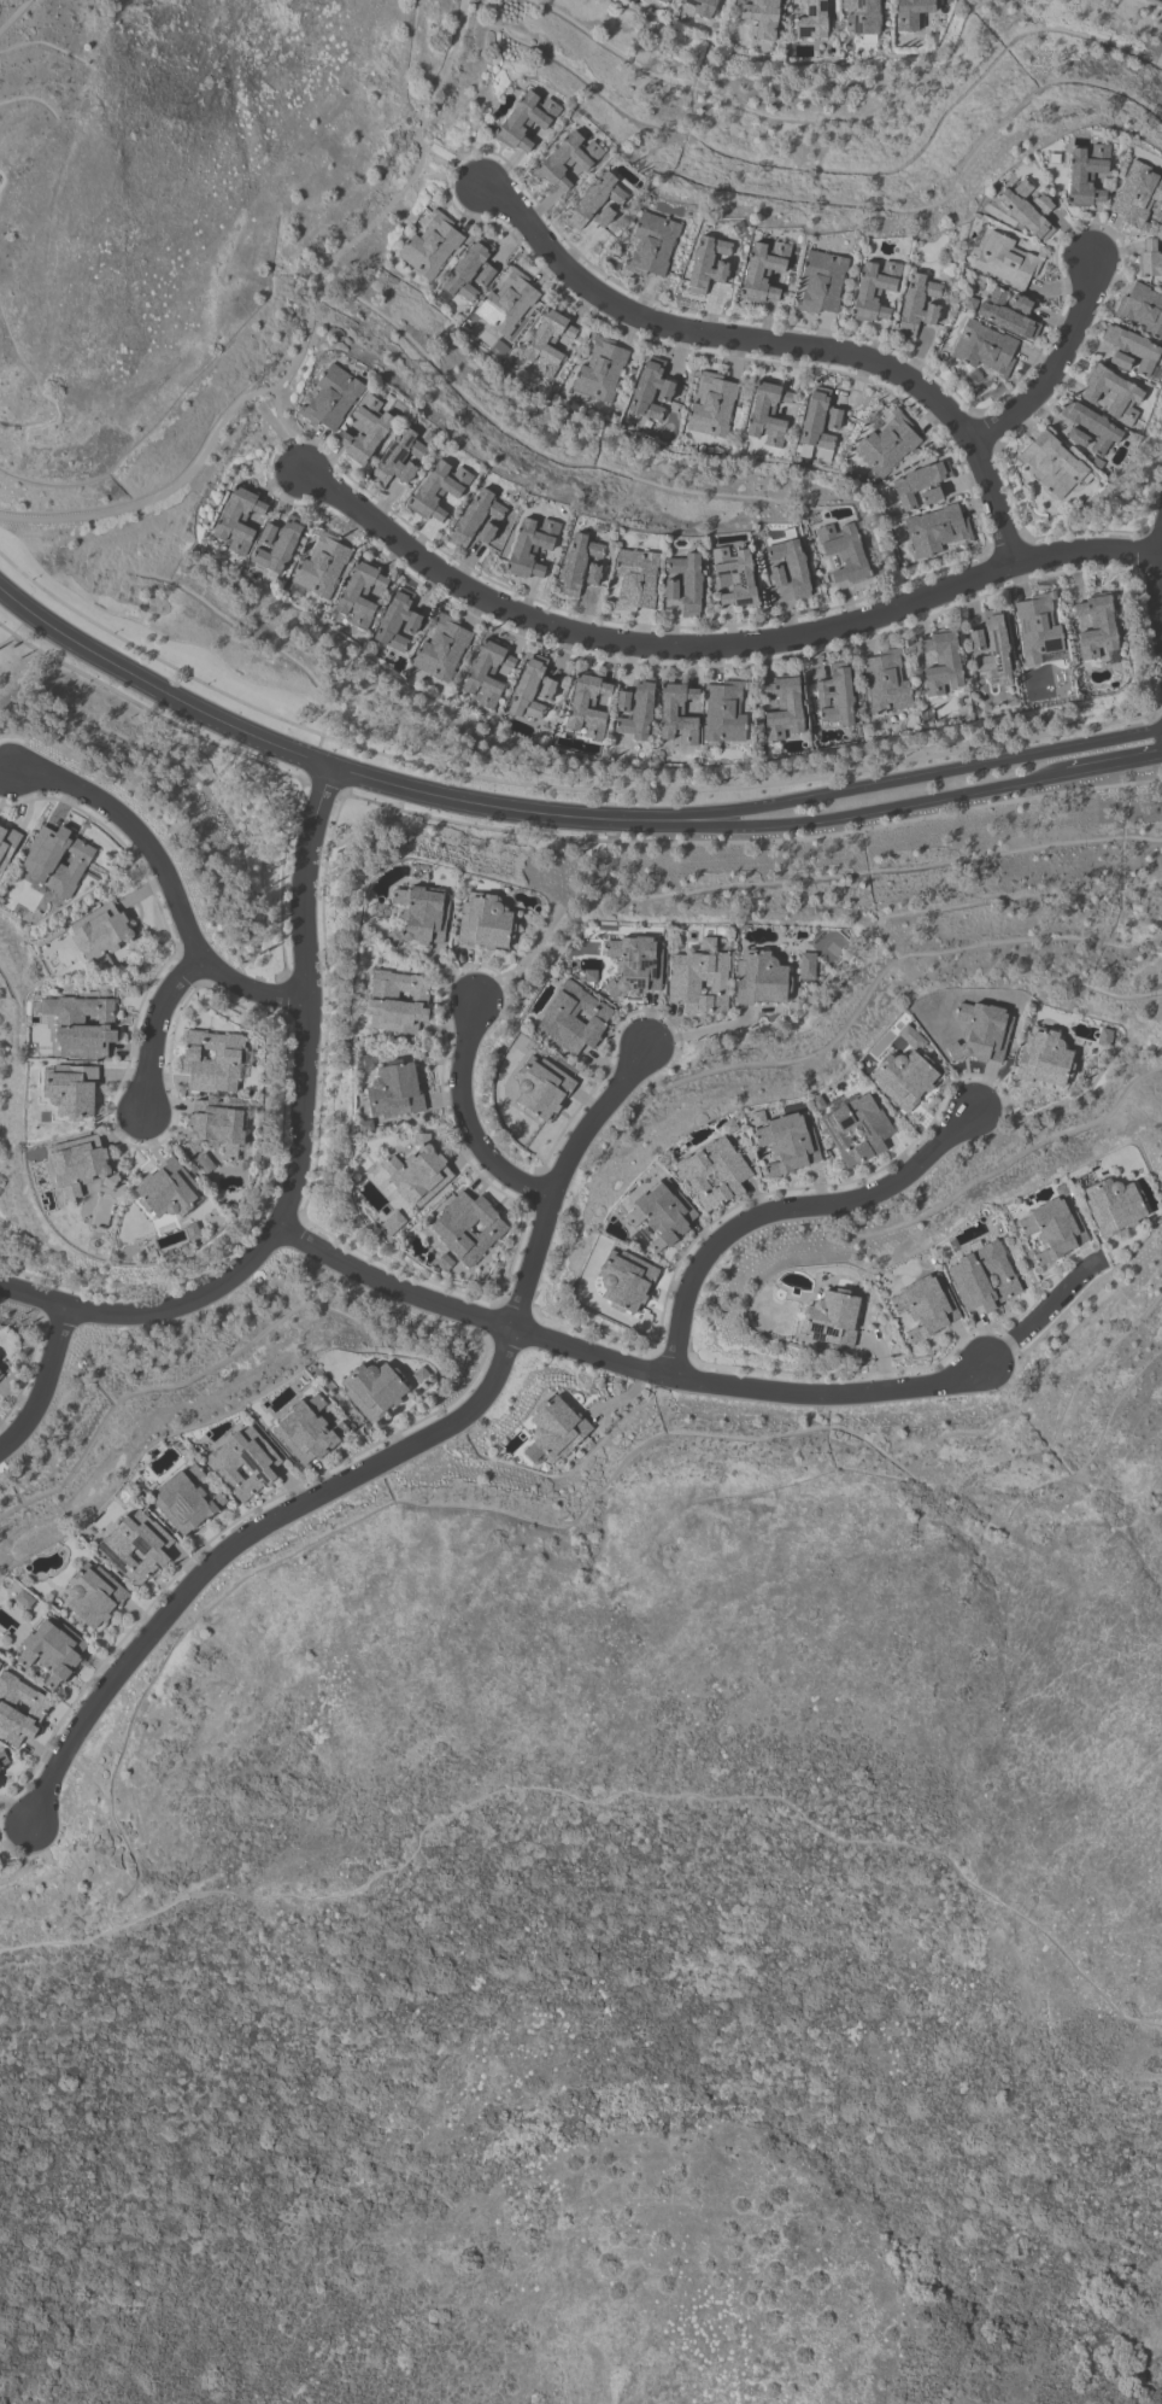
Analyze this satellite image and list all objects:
building: (663, 0)
park: (5, 2)
building: (702, 6)
road: (462, 12)
building: (911, 13)
building: (861, 16)
building: (761, 17)
building: (810, 18)
road: (19, 21)
building: (524, 118)
road: (417, 134)
building: (567, 159)
building: (1085, 174)
road: (451, 179)
building: (1137, 194)
building: (595, 200)
building: (1027, 209)
building: (1158, 215)
building: (652, 244)
building: (430, 245)
building: (1007, 259)
building: (1149, 259)
building: (708, 262)
building: (470, 269)
building: (764, 269)
building: (821, 281)
building: (873, 288)
building: (506, 302)
building: (917, 303)
building: (1143, 309)
building: (1008, 312)
building: (547, 340)
road: (780, 345)
building: (984, 346)
building: (1132, 346)
building: (1120, 359)
building: (599, 368)
road: (1055, 368)
building: (650, 387)
building: (1111, 393)
building: (331, 397)
building: (711, 404)
building: (767, 411)
building: (818, 419)
building: (1088, 426)
building: (365, 428)
road: (288, 433)
building: (887, 443)
building: (822, 454)
building: (399, 457)
building: (1052, 463)
road: (184, 473)
building: (920, 484)
building: (436, 489)
building: (237, 519)
building: (476, 520)
building: (935, 528)
building: (276, 543)
building: (530, 545)
building: (844, 551)
building: (321, 565)
building: (580, 565)
road: (1158, 565)
building: (788, 567)
building: (735, 575)
building: (635, 578)
building: (685, 583)
building: (358, 593)
building: (397, 619)
building: (1096, 626)
building: (1037, 627)
building: (990, 643)
building: (442, 647)
road: (716, 650)
building: (941, 663)
building: (487, 671)
building: (885, 680)
building: (532, 686)
building: (835, 695)
building: (587, 704)
building: (635, 708)
building: (782, 708)
building: (723, 710)
building: (677, 712)
road: (157, 714)
road: (1113, 761)
road: (328, 766)
road: (929, 778)
road: (556, 785)
road: (881, 805)
building: (7, 843)
building: (55, 860)
road: (170, 883)
building: (421, 914)
building: (485, 922)
building: (102, 932)
building: (634, 964)
building: (806, 964)
building: (761, 977)
building: (698, 979)
building: (397, 999)
building: (574, 1017)
building: (81, 1023)
road: (154, 1029)
road: (699, 1031)
building: (979, 1031)
building: (911, 1036)
building: (1104, 1036)
building: (1044, 1058)
building: (212, 1059)
building: (905, 1078)
building: (541, 1087)
building: (71, 1089)
building: (394, 1089)
road: (466, 1117)
building: (216, 1125)
building: (858, 1129)
building: (791, 1143)
road: (299, 1153)
building: (80, 1164)
building: (417, 1171)
building: (714, 1171)
building: (168, 1188)
building: (1114, 1205)
road: (786, 1211)
building: (661, 1212)
building: (391, 1223)
building: (468, 1226)
building: (1054, 1227)
building: (192, 1229)
building: (444, 1262)
building: (982, 1276)
building: (626, 1279)
building: (926, 1305)
road: (1039, 1314)
building: (831, 1317)
road: (621, 1365)
building: (1, 1374)
road: (41, 1385)
building: (374, 1388)
building: (306, 1429)
building: (554, 1431)
building: (243, 1462)
road: (375, 1463)
building: (184, 1499)
building: (135, 1546)
building: (93, 1595)
building: (24, 1598)
building: (52, 1648)
building: (19, 1707)
building: (2, 1757)
road: (692, 1794)
road: (96, 1934)

